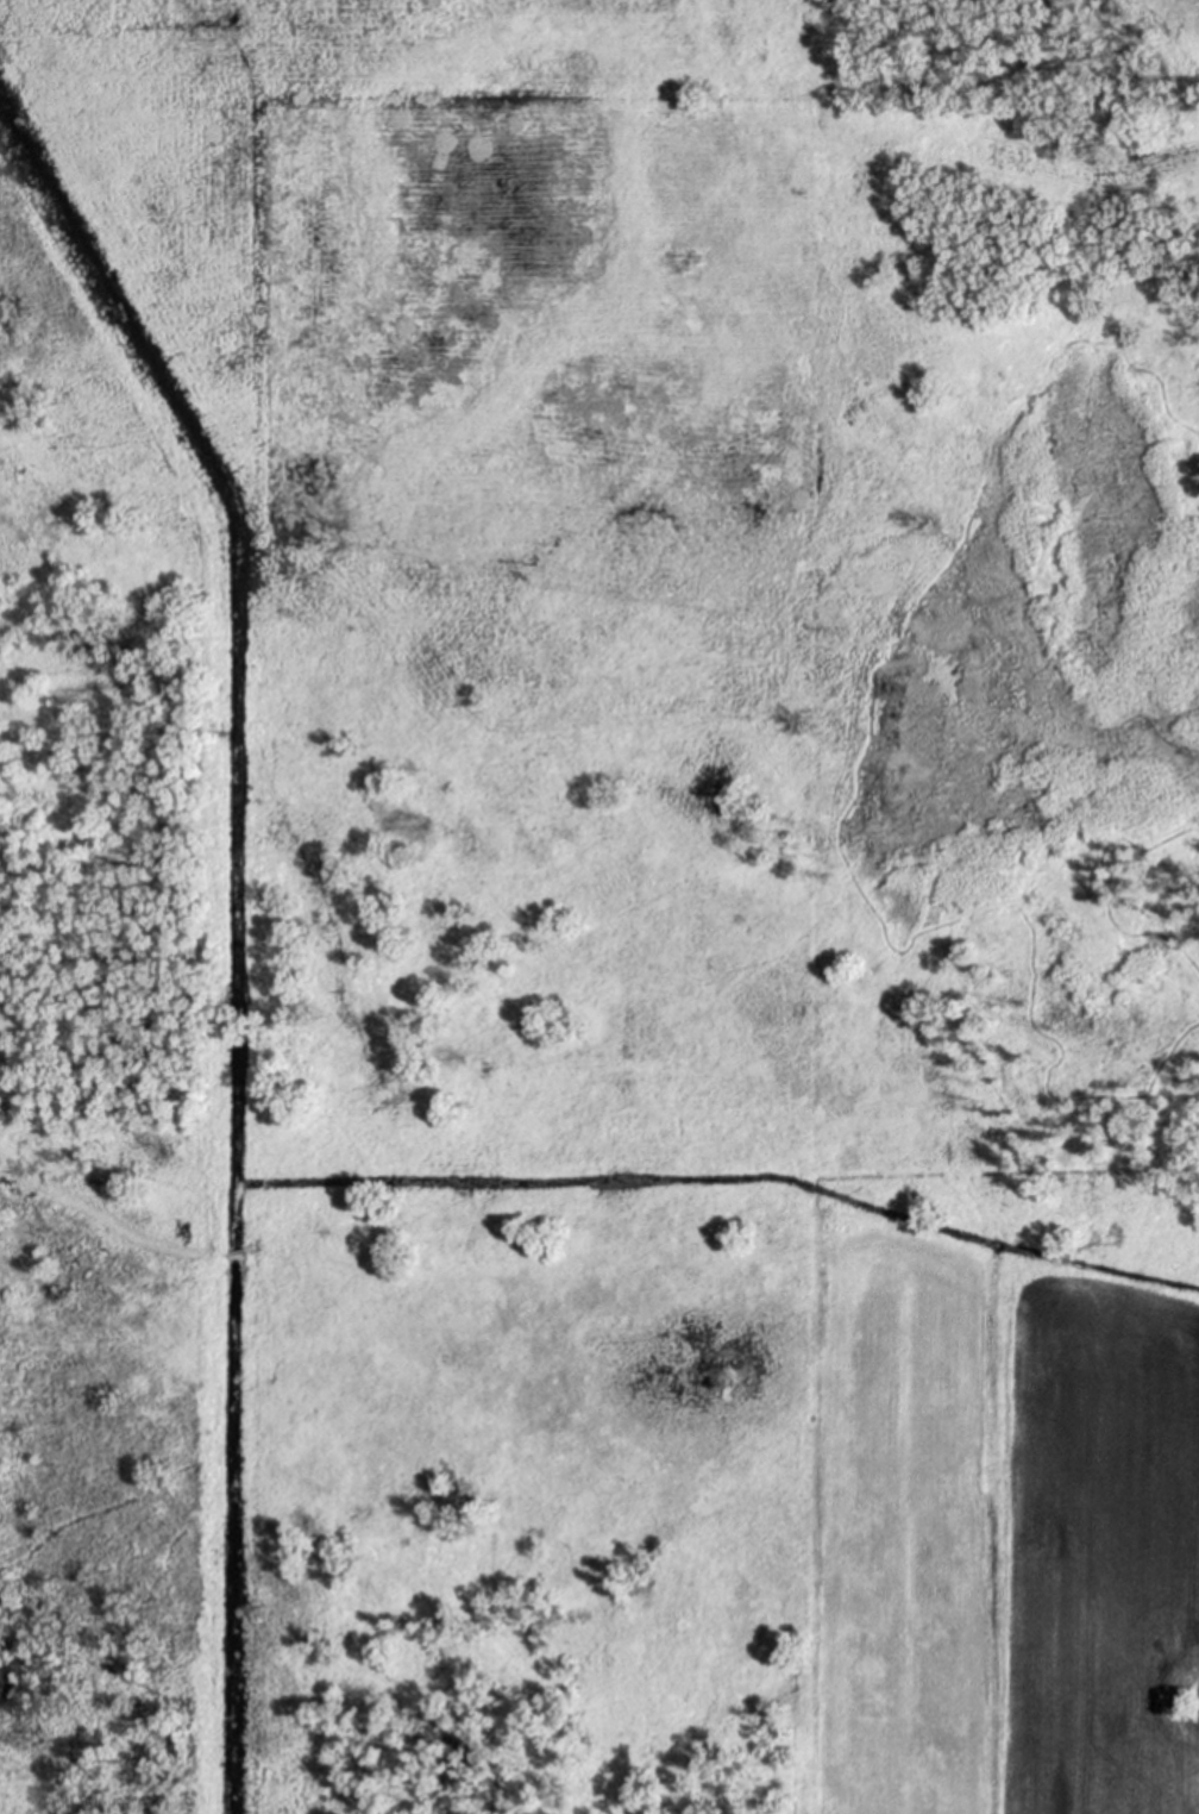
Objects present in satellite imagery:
building: (237, 1255)

